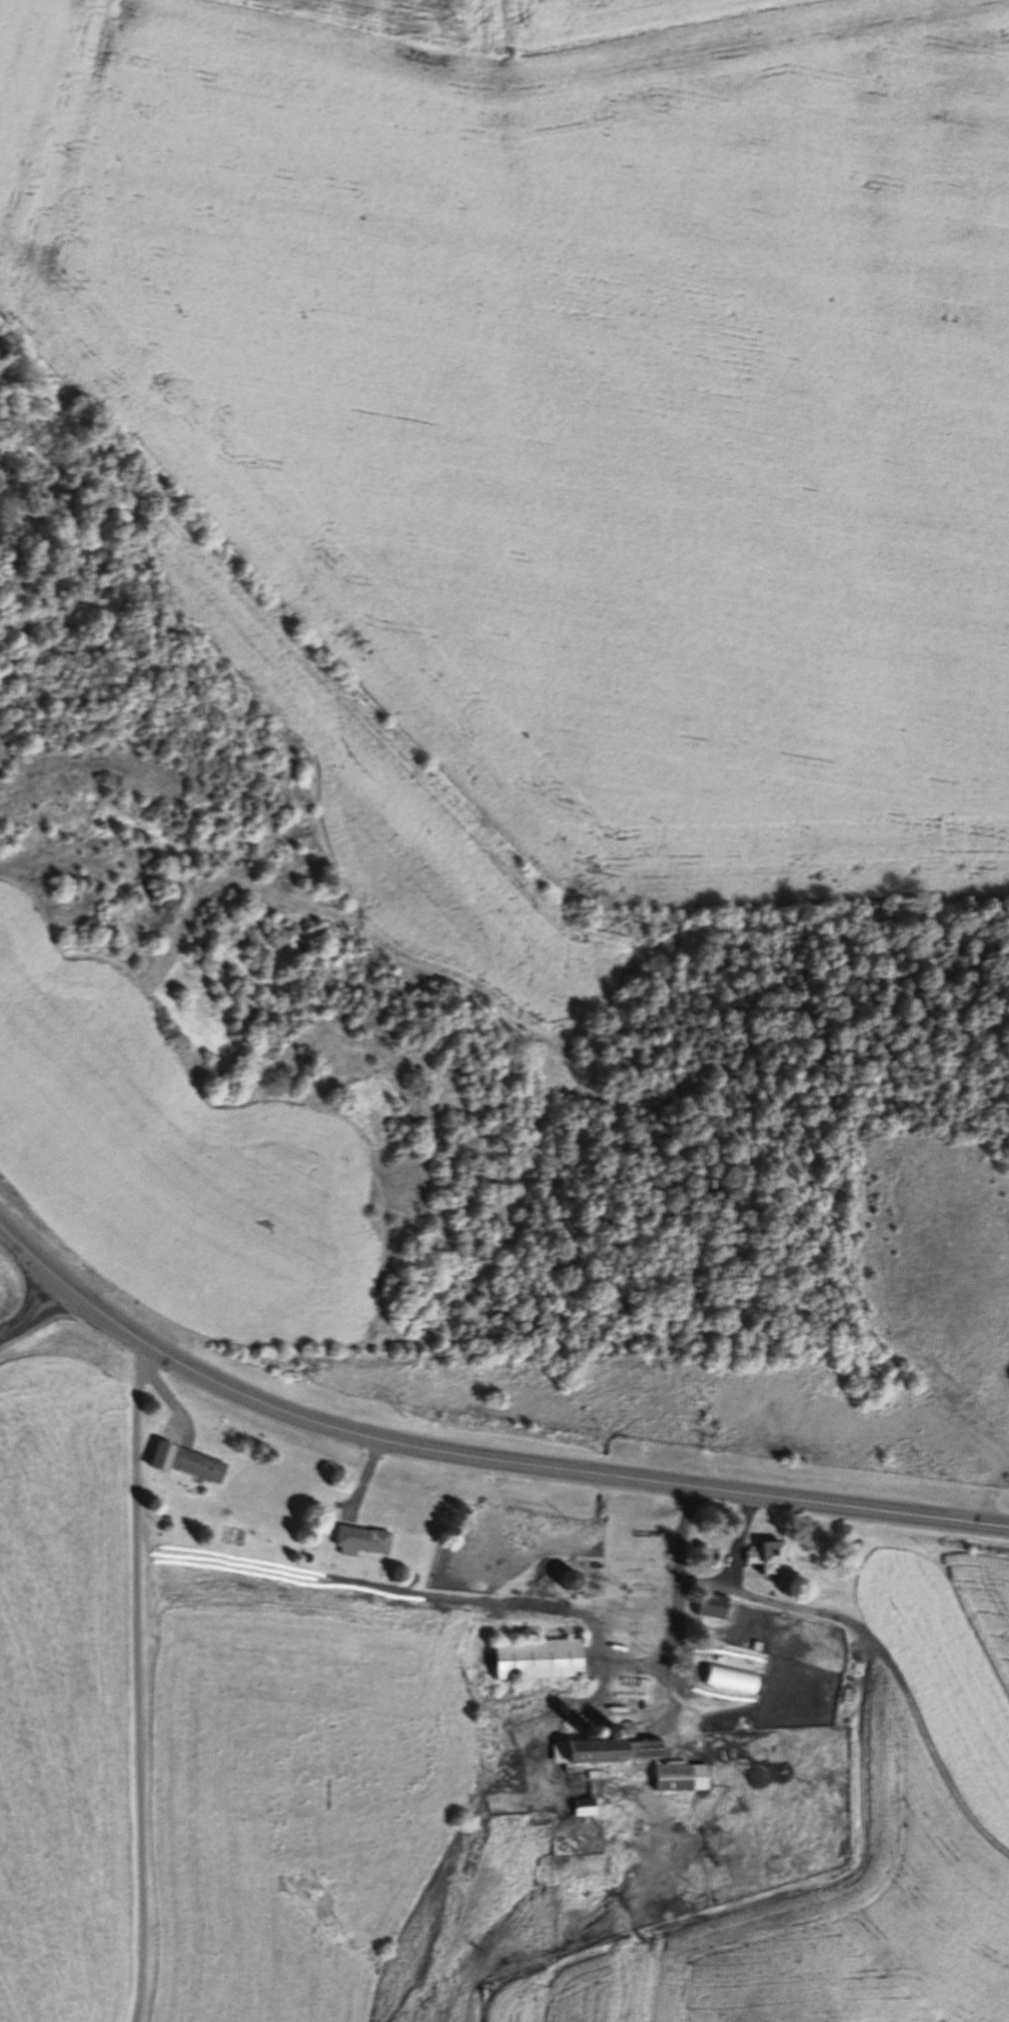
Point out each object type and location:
road: (33, 1308)
road: (474, 1458)
building: (200, 1466)
building: (365, 1540)
building: (773, 1558)
building: (714, 1606)
building: (543, 1658)
building: (620, 1747)
building: (685, 1777)
building: (589, 1806)

